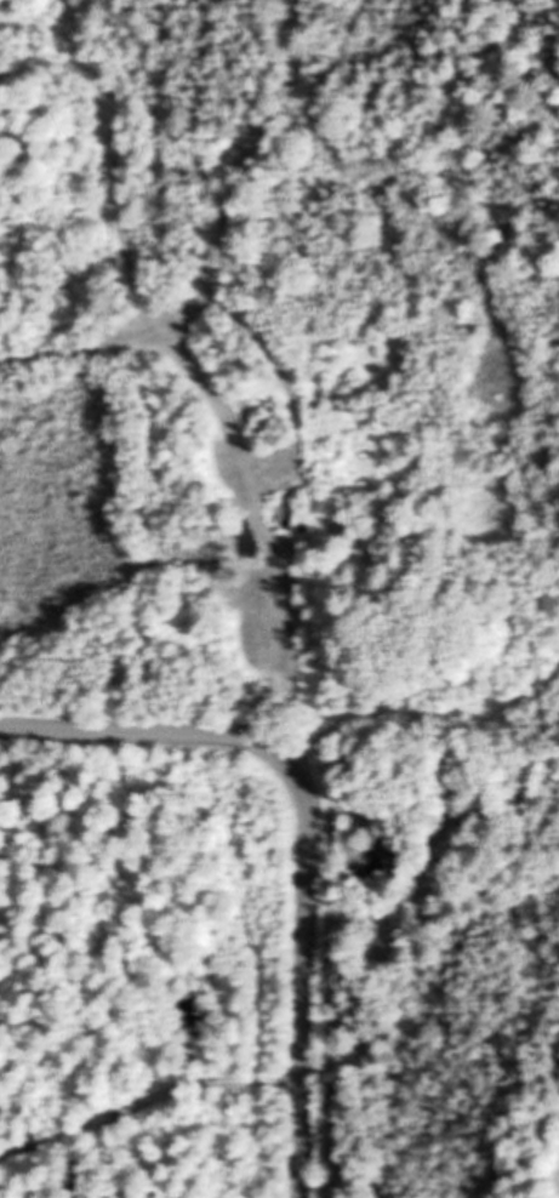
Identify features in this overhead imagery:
road: (308, 826)

